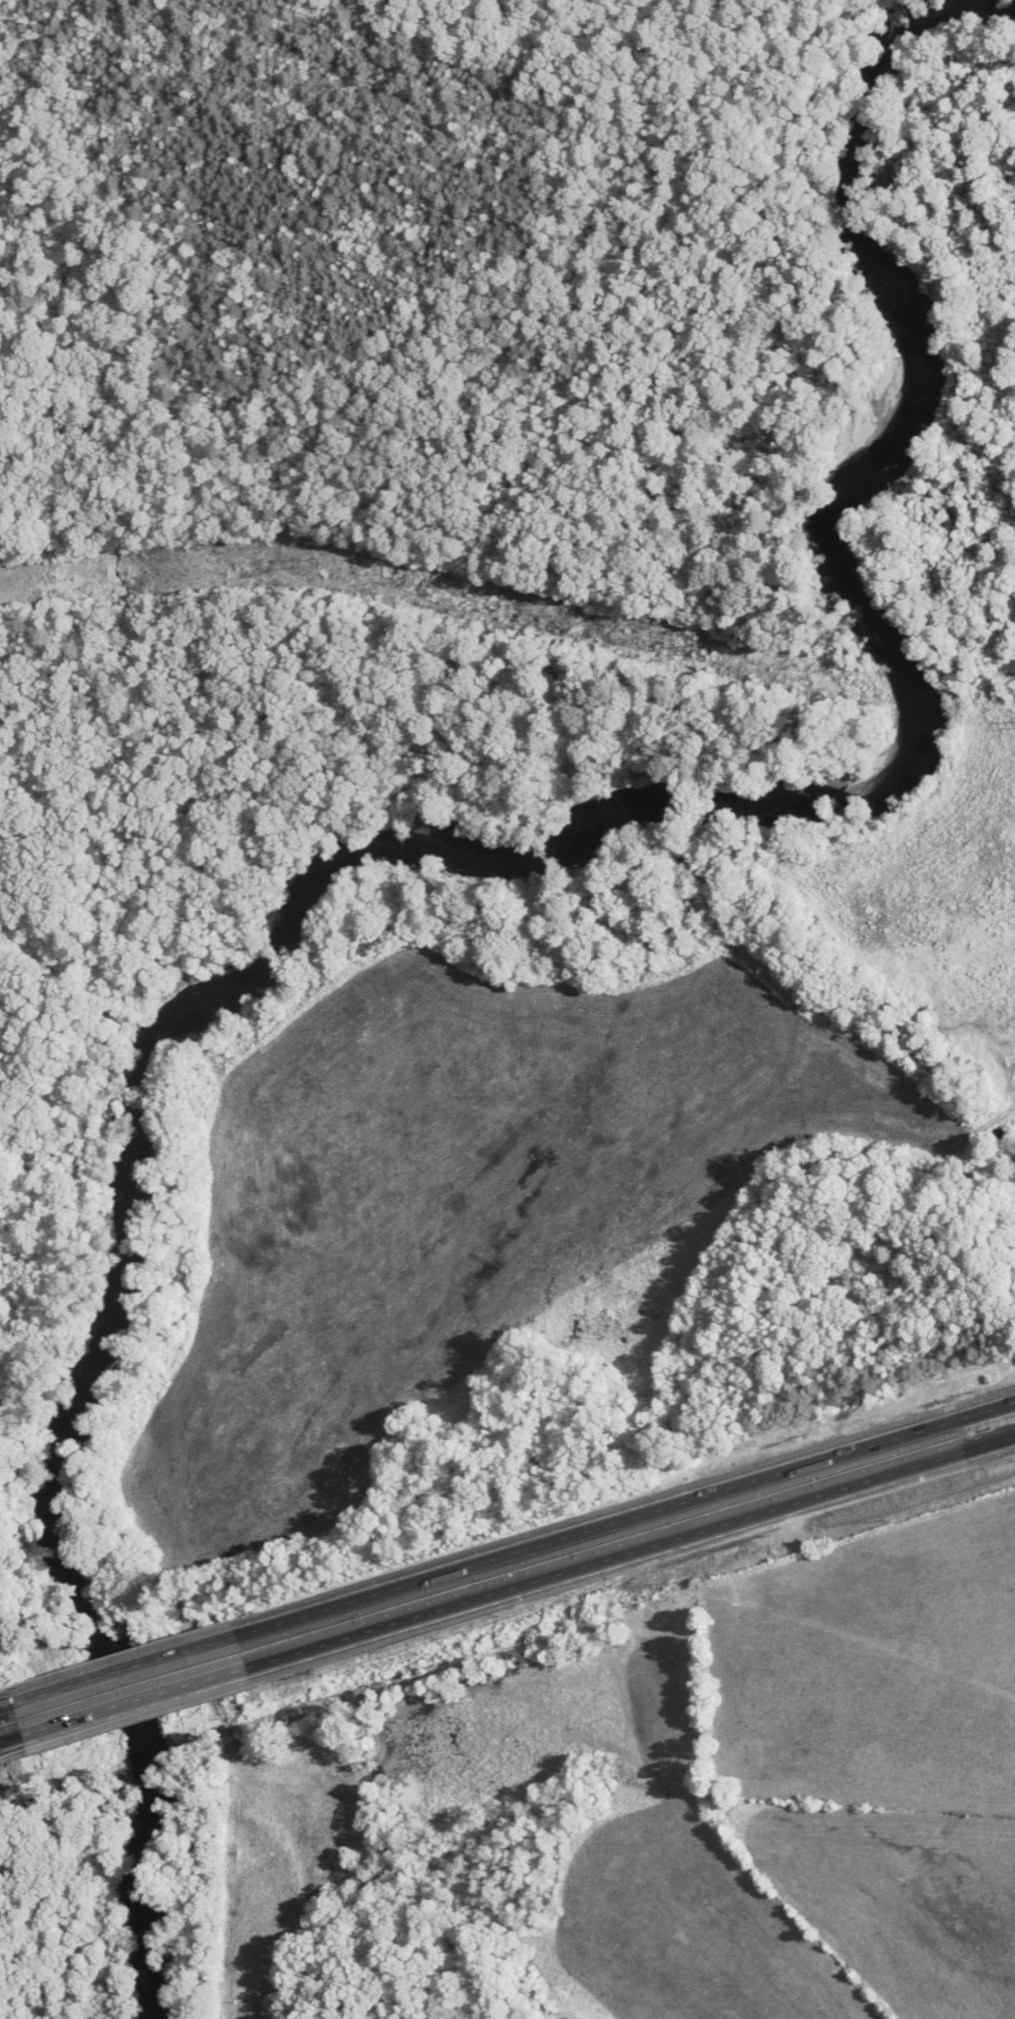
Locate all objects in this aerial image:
power tower: (301, 561)
power tower: (692, 646)
road: (625, 1527)
road: (630, 1552)
road: (122, 1683)
road: (133, 1714)
road: (5, 1716)
road: (5, 1717)
road: (9, 1751)

